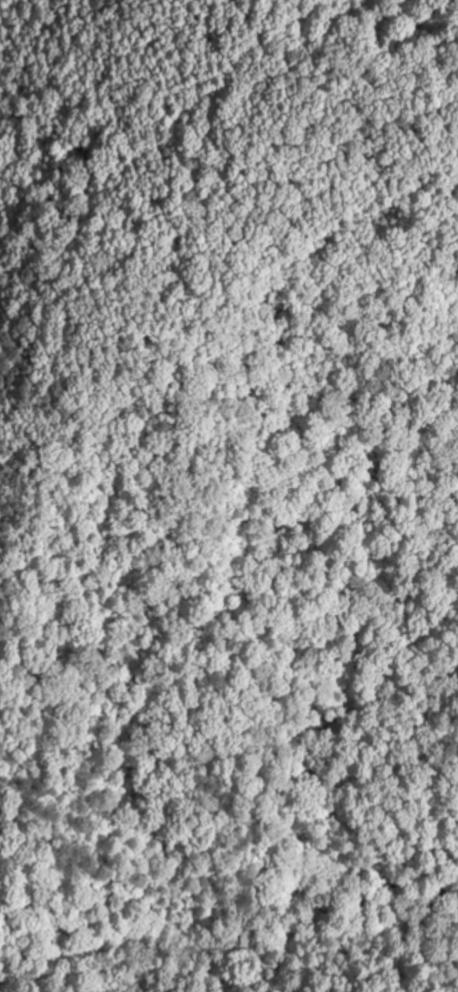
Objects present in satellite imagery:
road: (166, 260)

